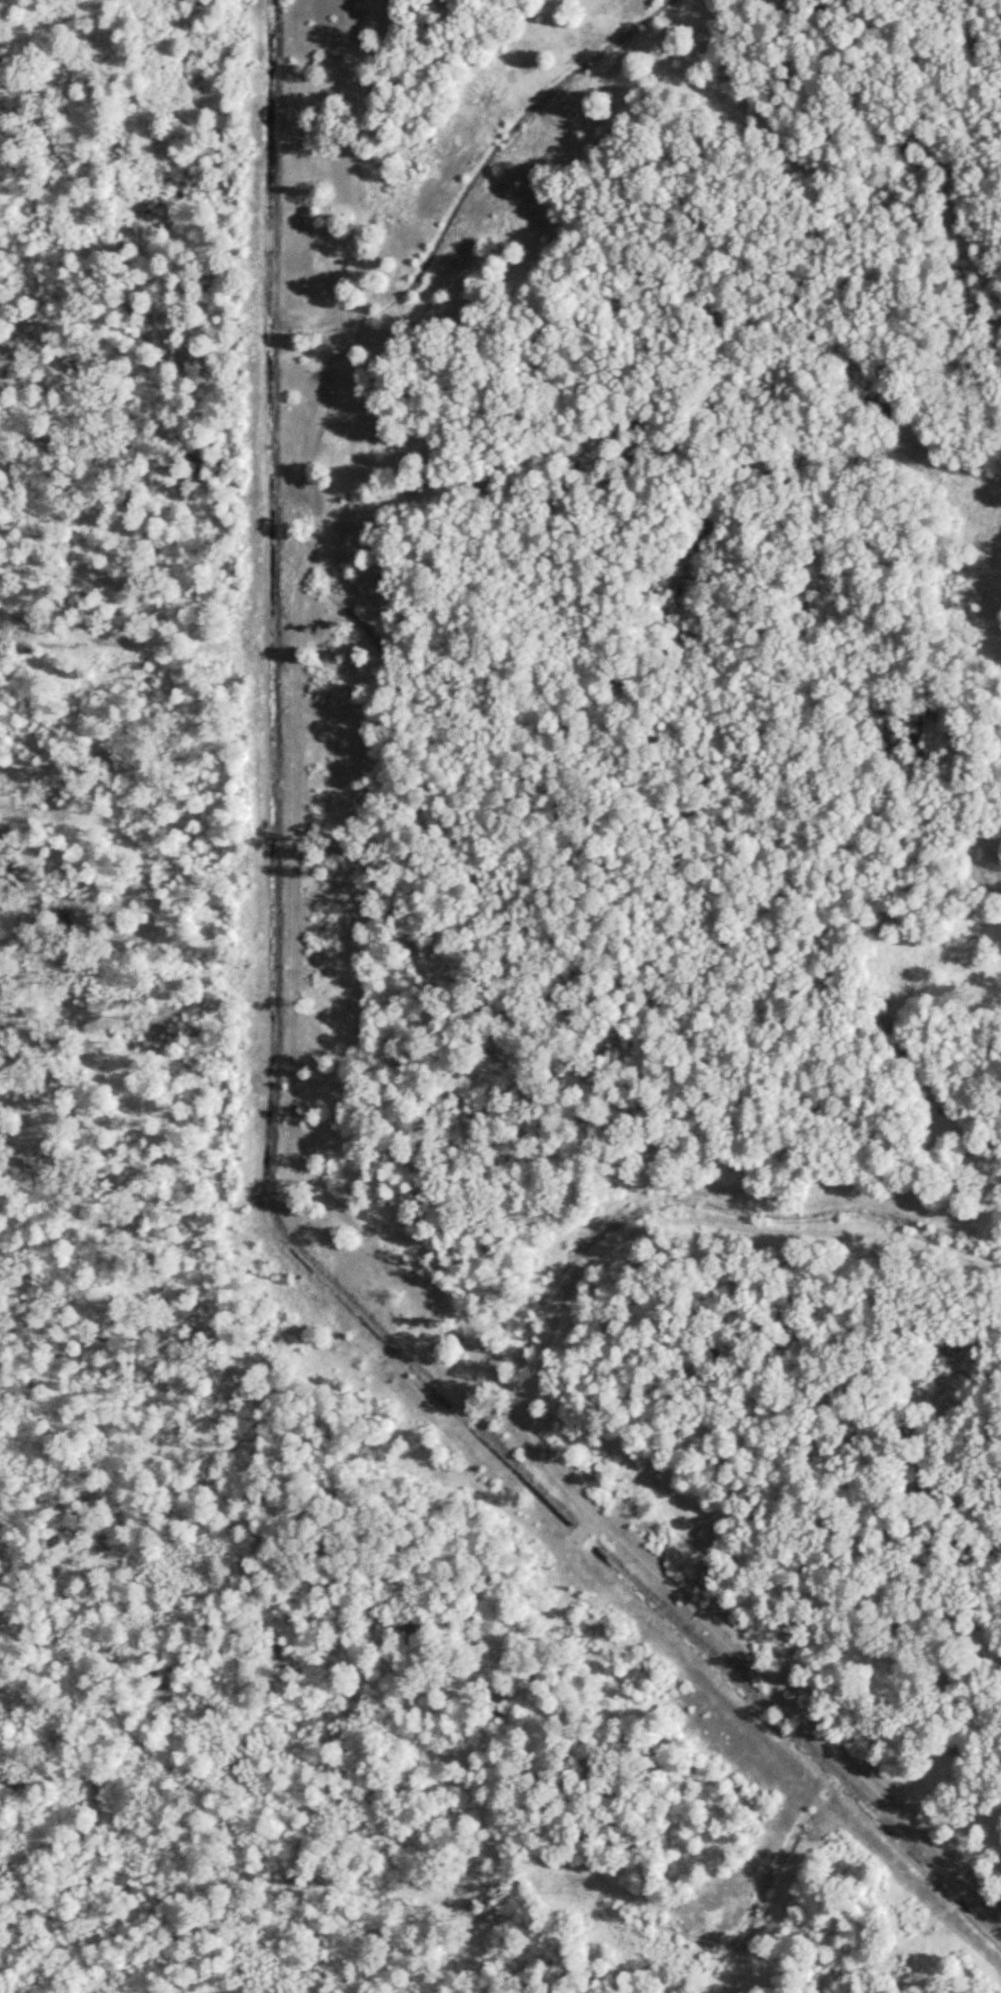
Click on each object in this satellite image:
road: (517, 155)
road: (296, 1084)

